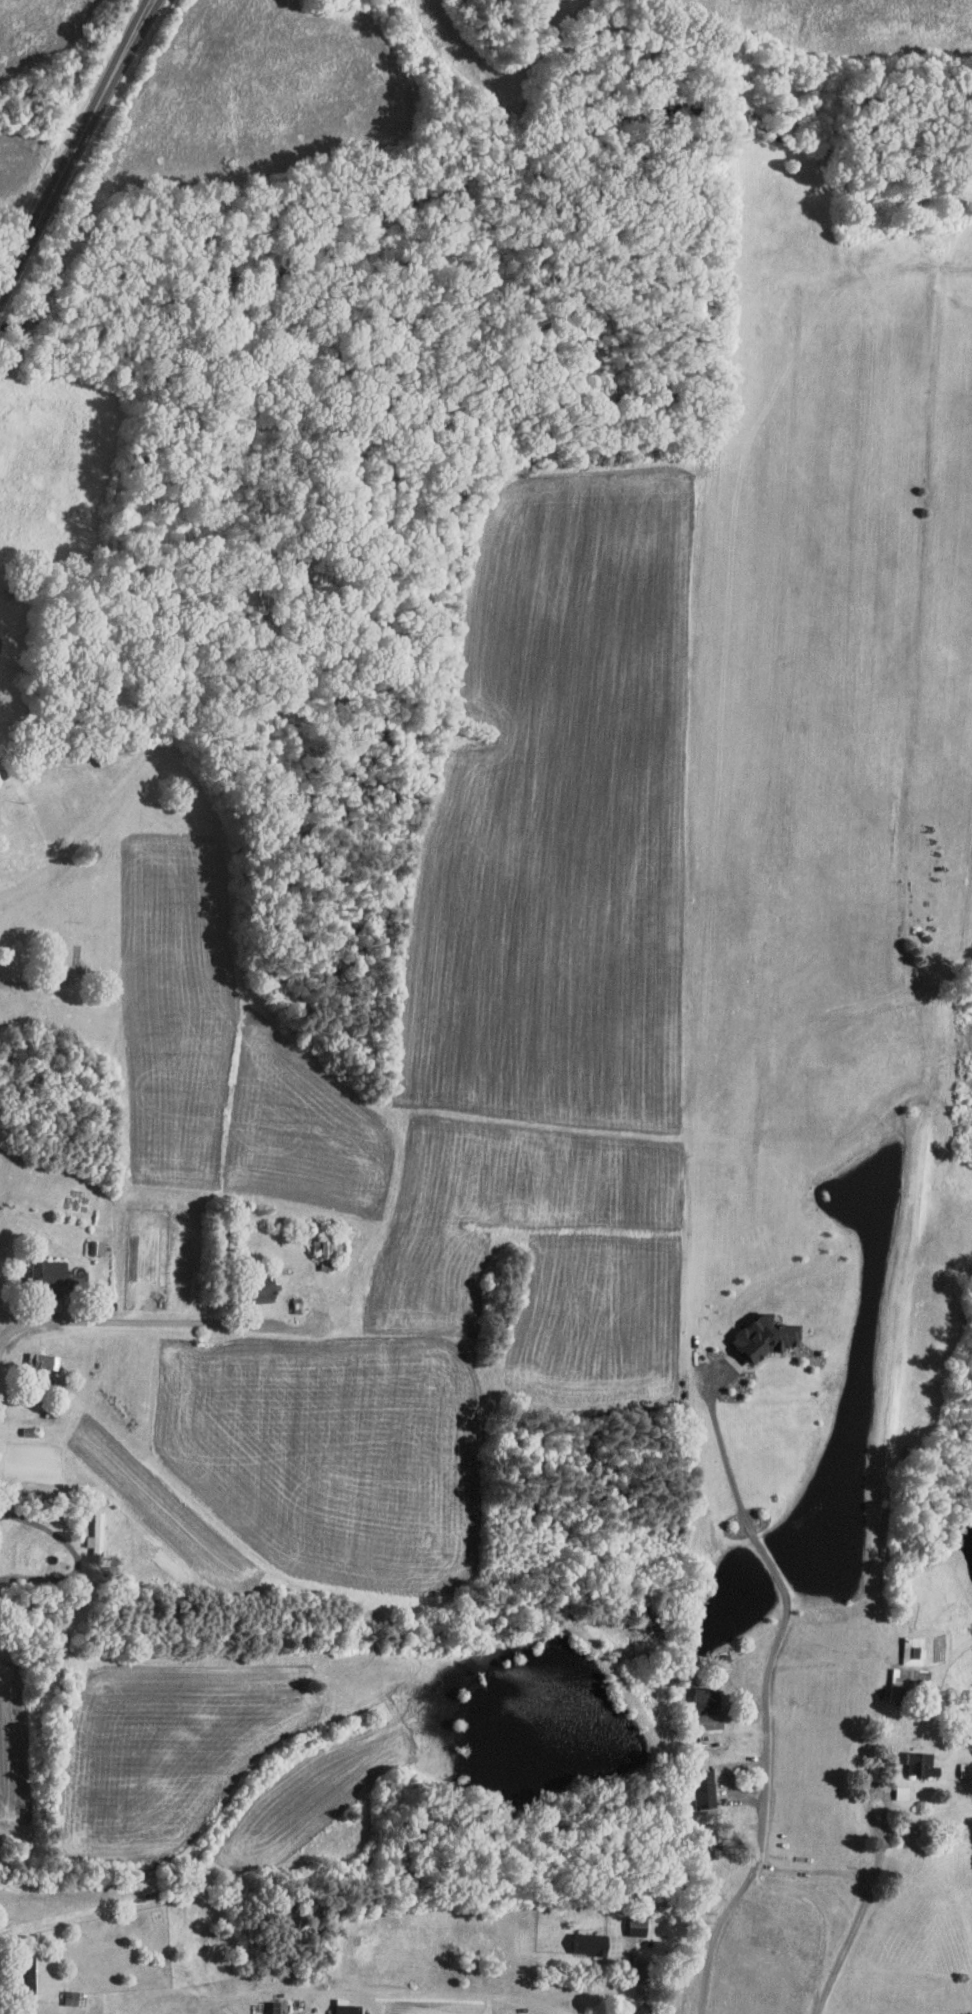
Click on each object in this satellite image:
road: (77, 148)
building: (42, 1266)
building: (261, 1294)
road: (159, 1322)
building: (766, 1337)
road: (79, 1557)
building: (914, 1650)
building: (911, 1684)
road: (768, 1689)
building: (707, 1698)
building: (710, 1720)
building: (922, 1765)
building: (966, 1769)
road: (729, 1780)
building: (705, 1789)
building: (903, 1793)
building: (712, 1841)
road: (858, 1922)
building: (591, 1942)
road: (658, 2004)
building: (278, 2006)
building: (347, 2007)
building: (315, 2013)

